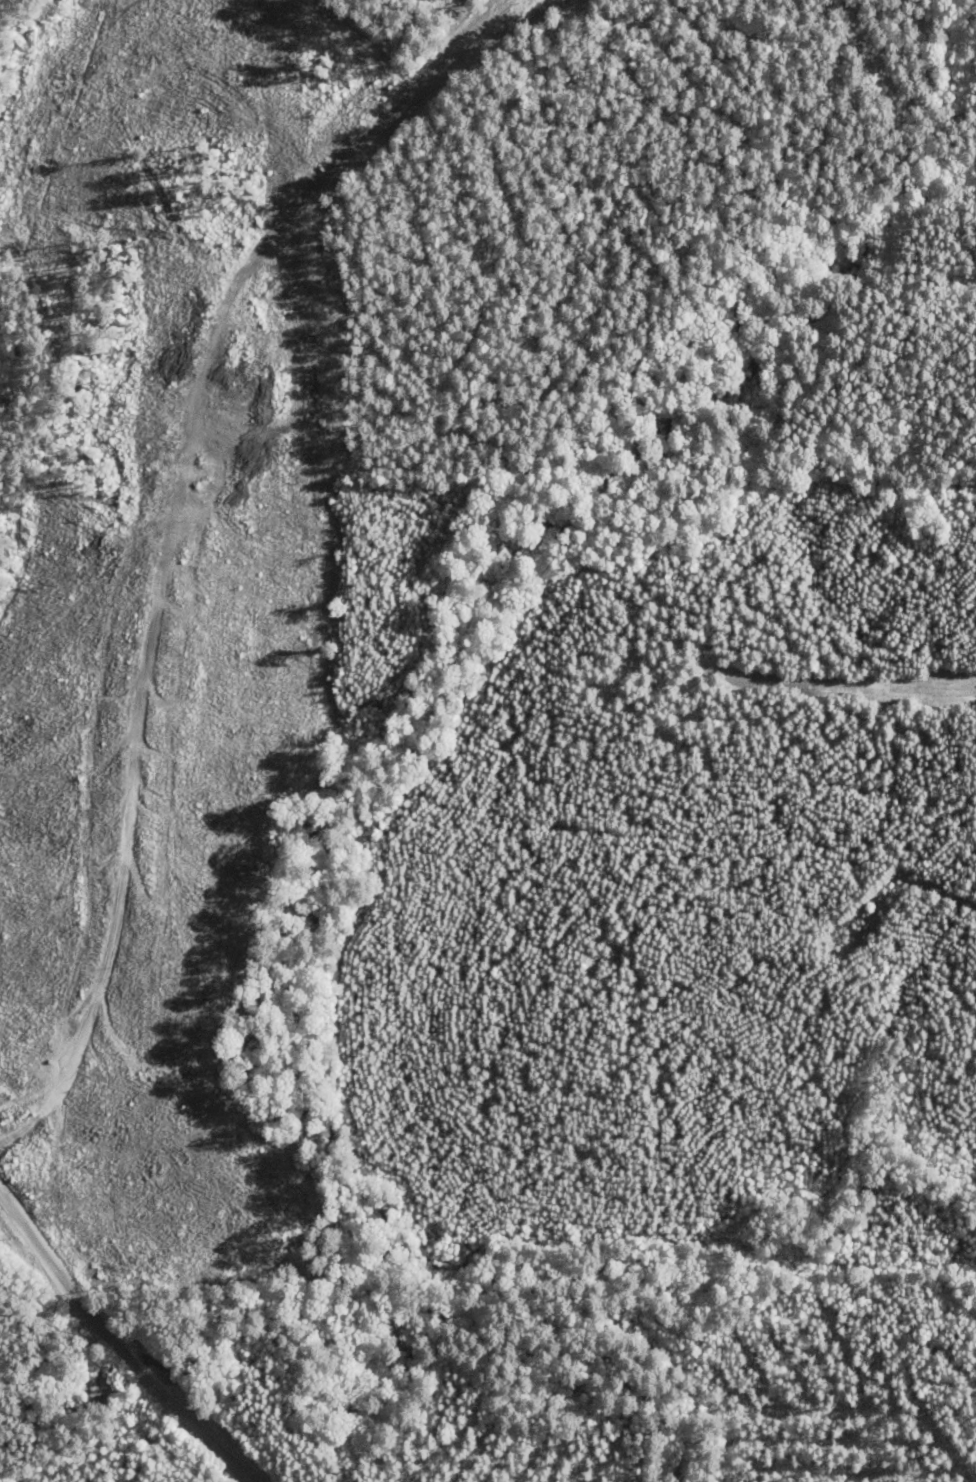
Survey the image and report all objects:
road: (119, 1331)

